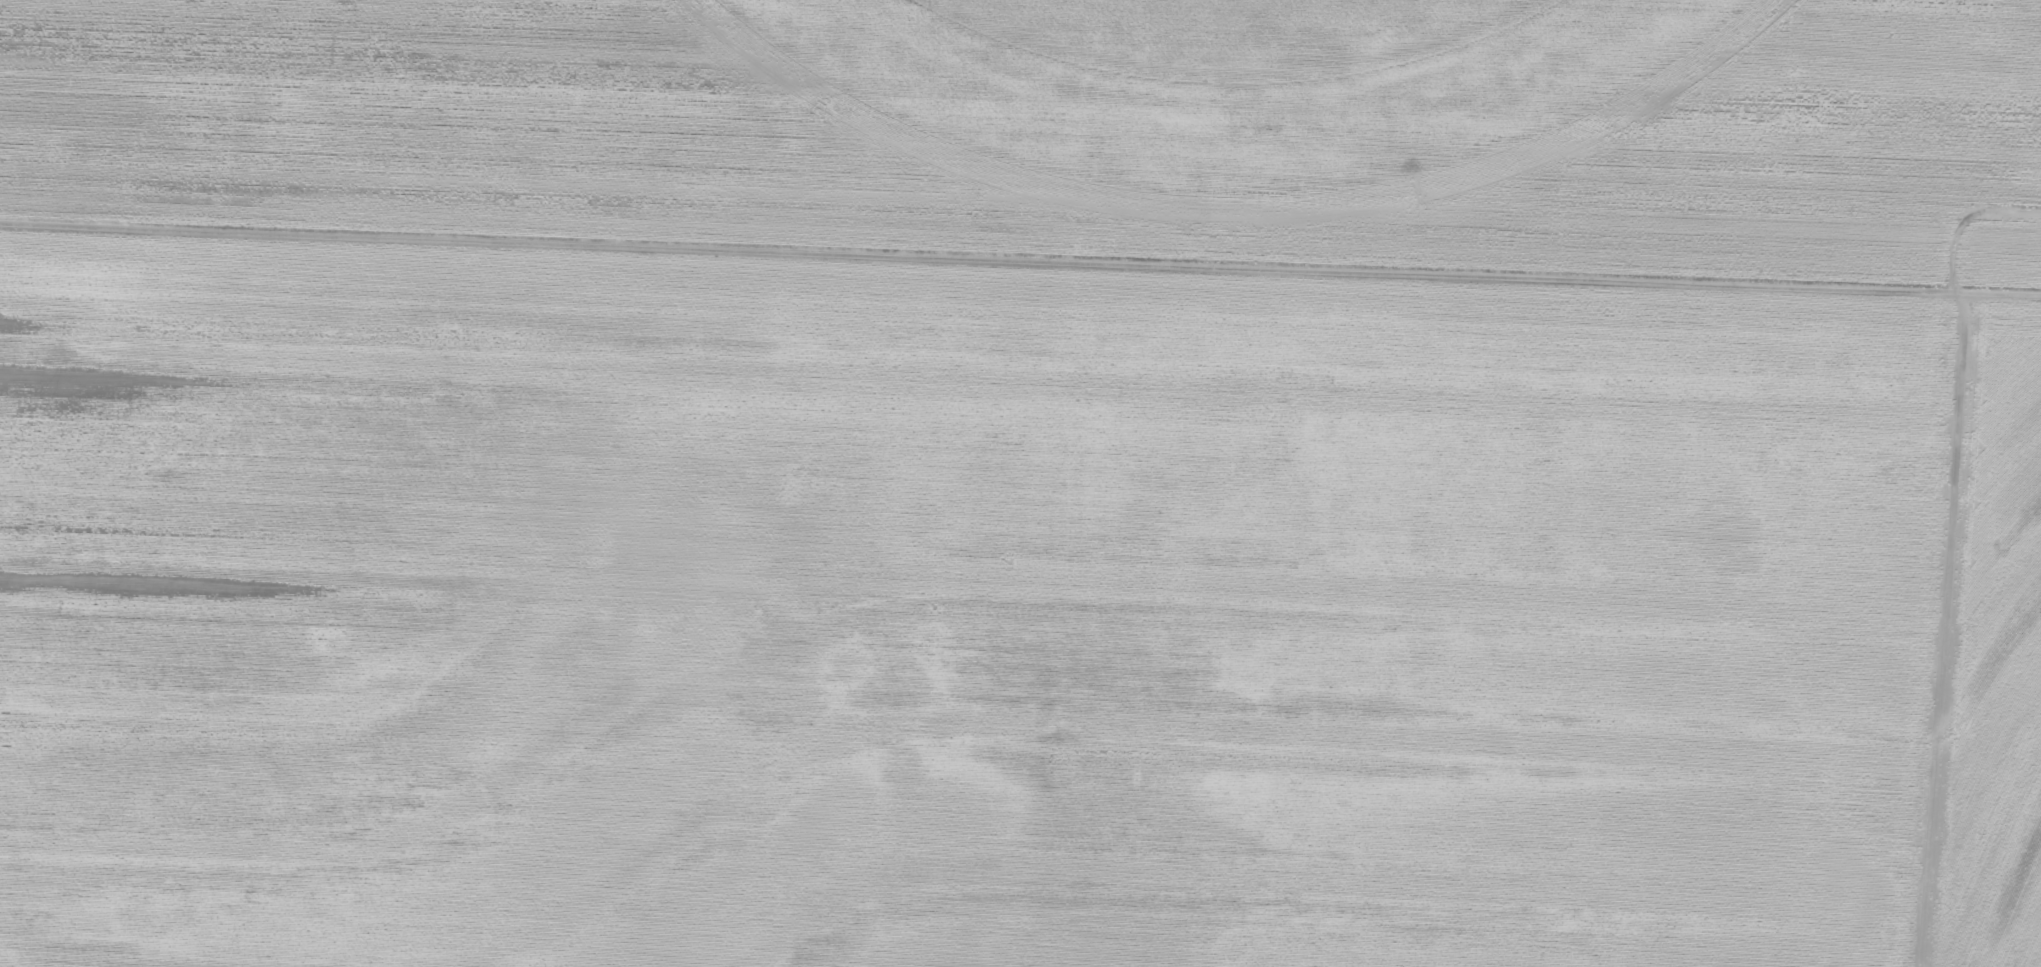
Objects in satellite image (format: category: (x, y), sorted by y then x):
crop: (1209, 51)
airport: (1058, 130)
road: (1892, 689)

